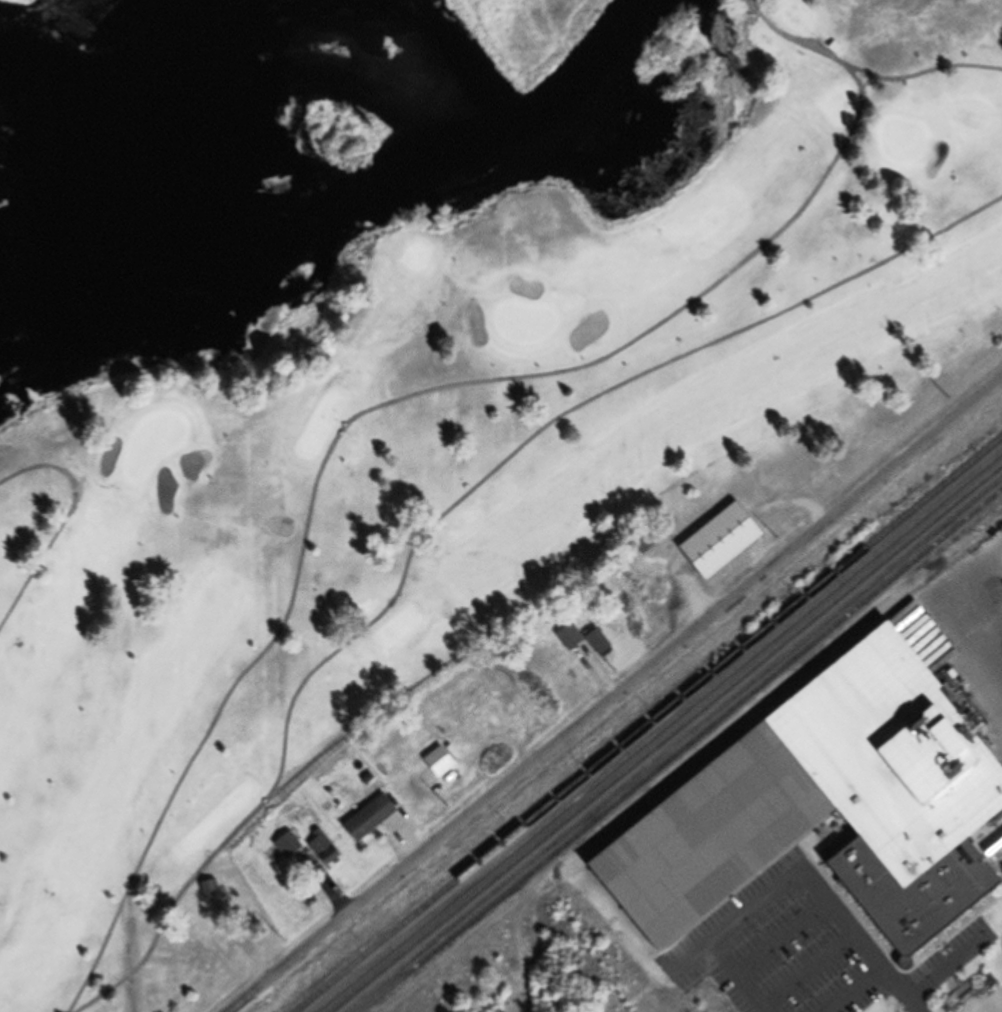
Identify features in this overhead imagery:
road: (753, 8)
river: (616, 51)
road: (921, 73)
river: (300, 236)
road: (405, 397)
road: (560, 417)
park: (482, 446)
road: (64, 522)
building: (723, 542)
road: (984, 627)
building: (572, 632)
road: (619, 698)
road: (362, 724)
railway: (649, 726)
railway: (658, 732)
railway: (666, 738)
railway: (681, 751)
building: (819, 813)
building: (370, 815)
building: (321, 848)
road: (770, 886)
building: (208, 889)
road: (948, 962)
road: (855, 988)
road: (905, 988)

